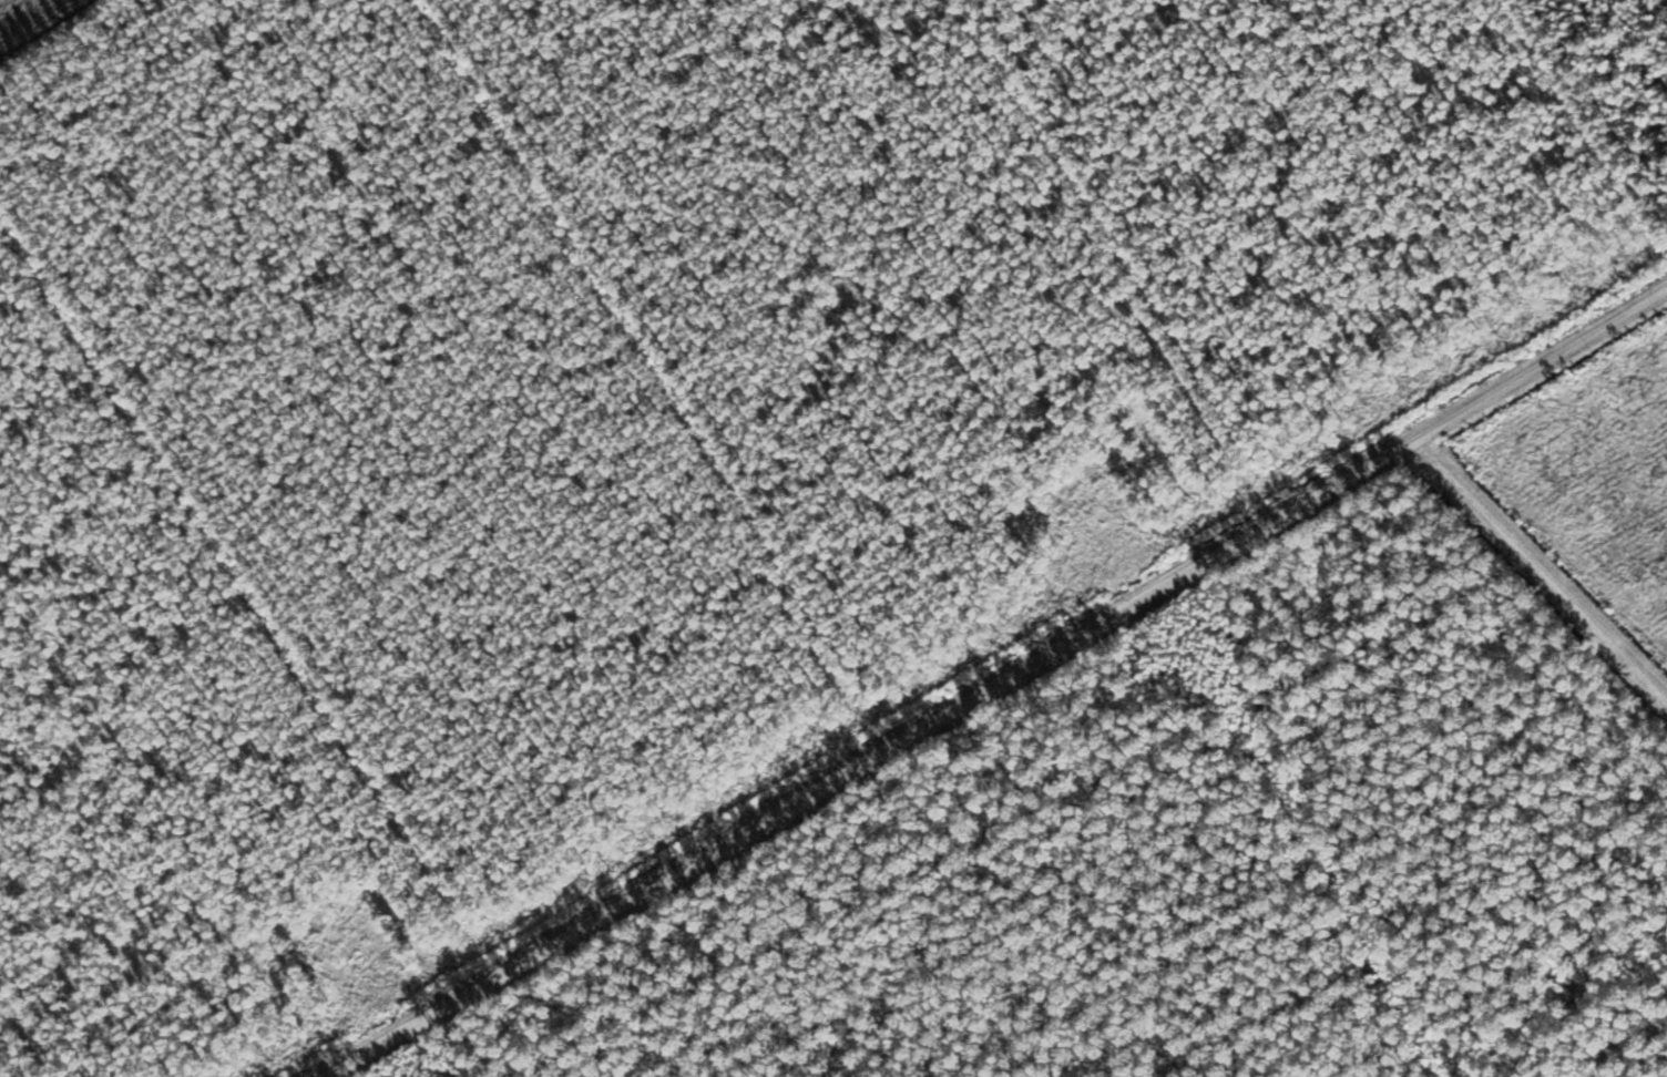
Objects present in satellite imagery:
road: (1543, 565)
road: (1002, 686)

